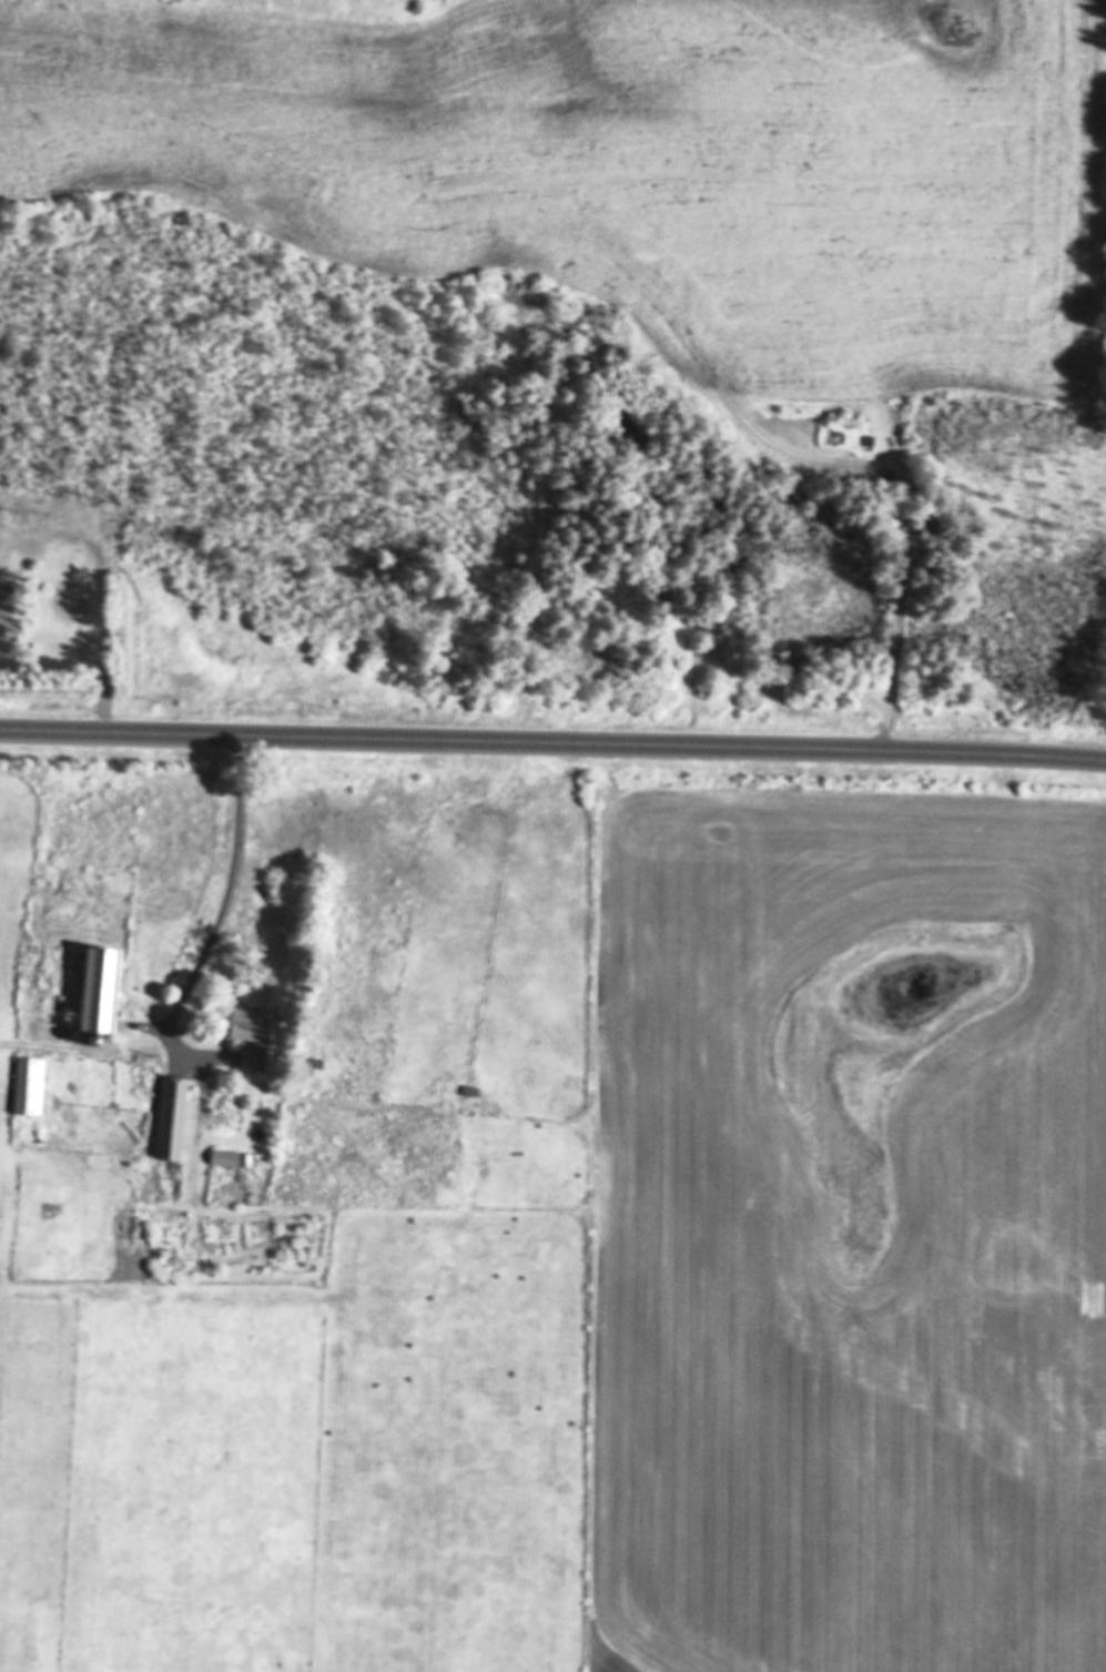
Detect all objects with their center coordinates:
road: (552, 743)
road: (241, 890)
building: (102, 993)
building: (253, 1040)
building: (30, 1088)
building: (471, 1093)
building: (173, 1122)
building: (232, 1161)

